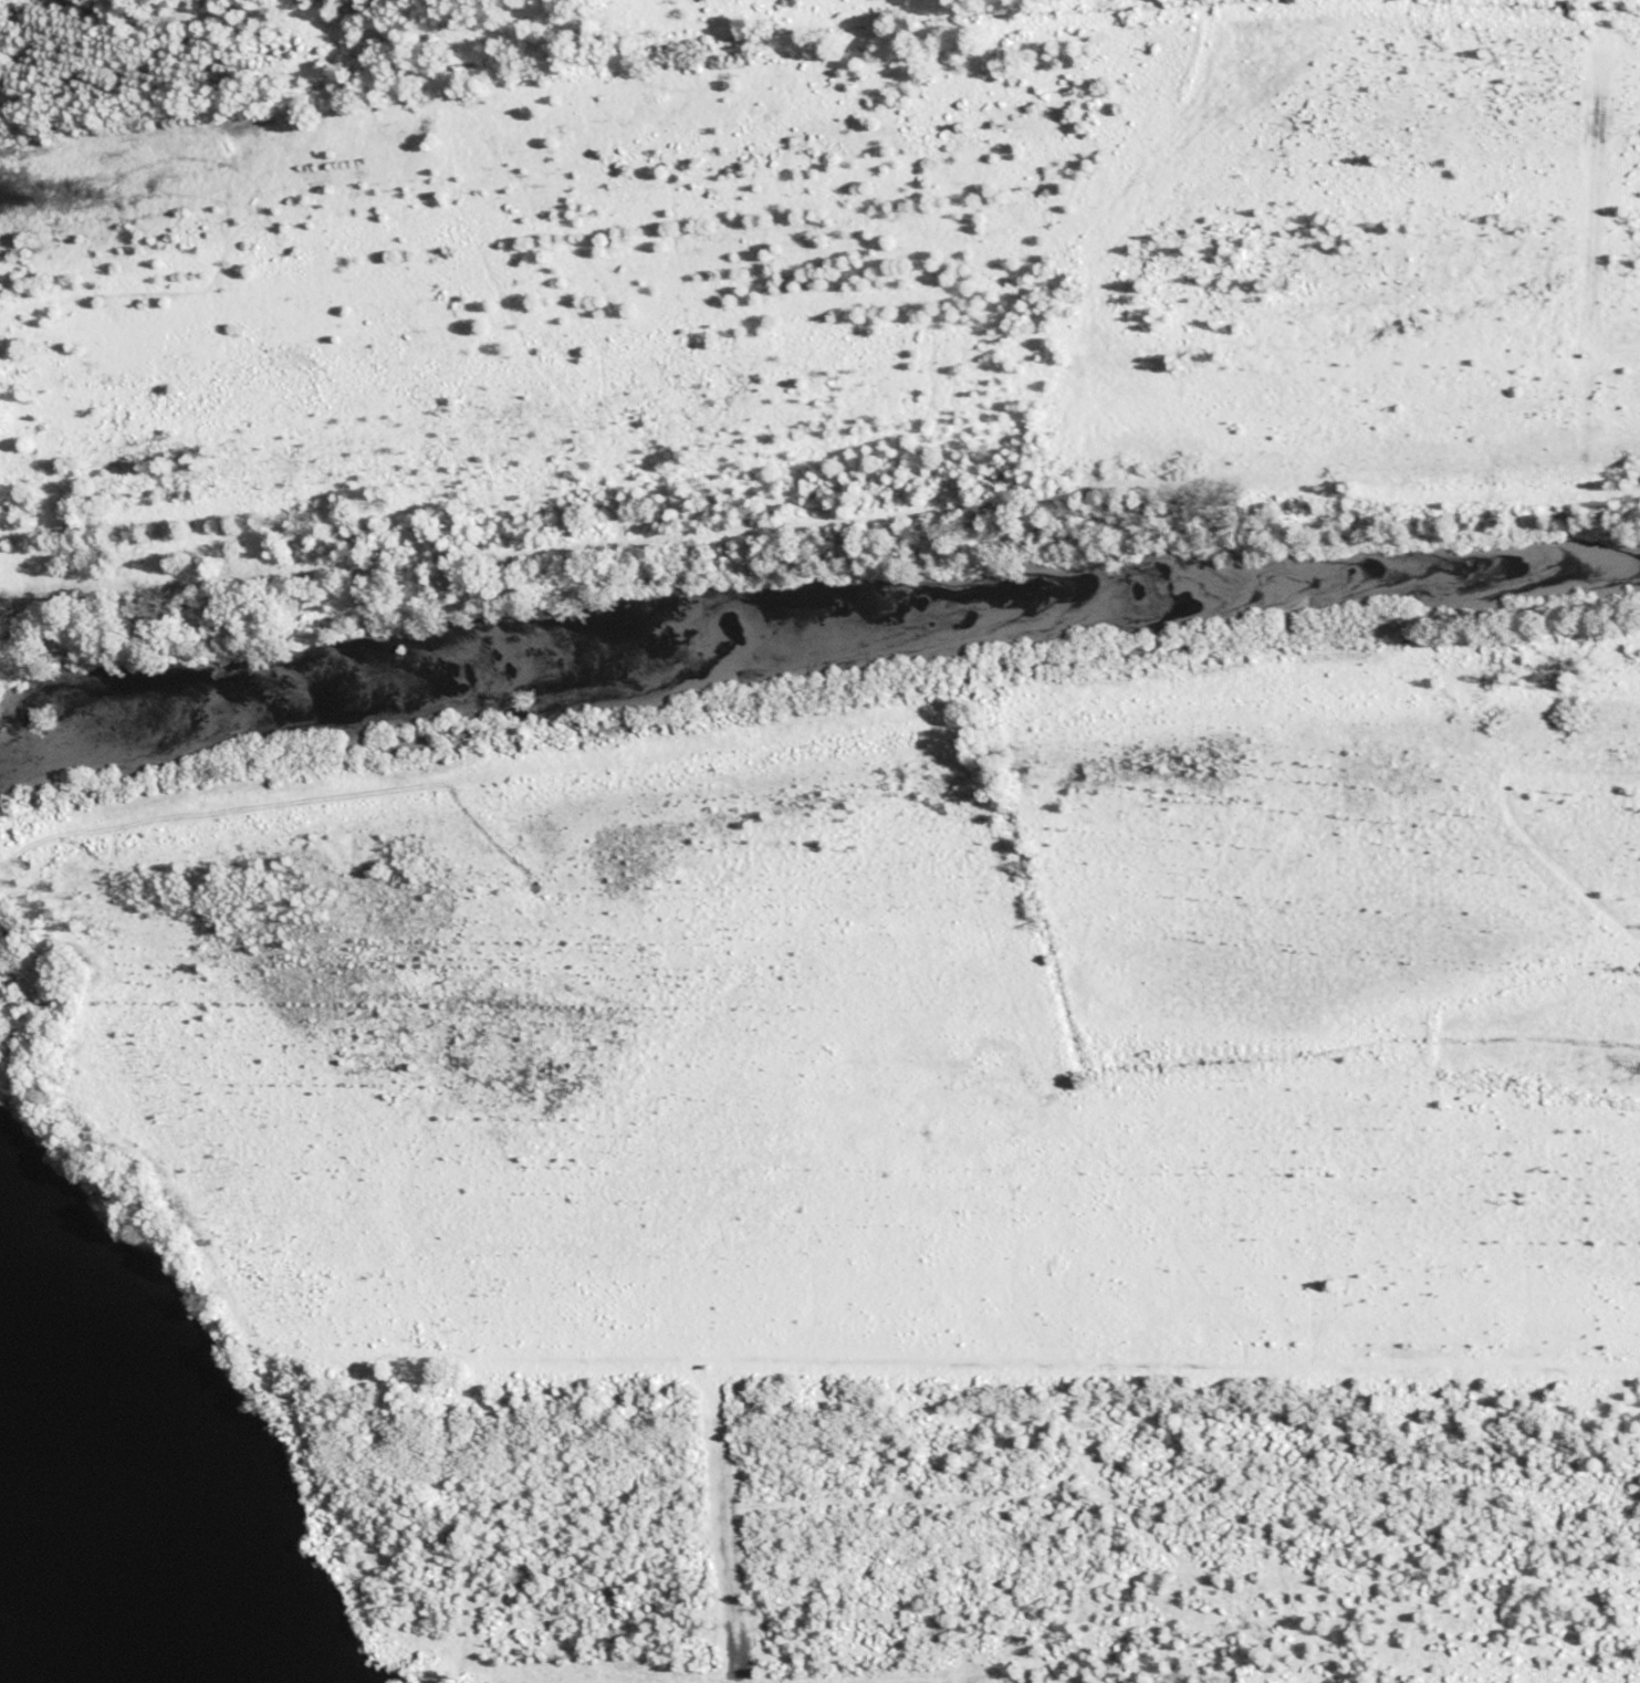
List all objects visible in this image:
road: (1528, 829)
road: (9, 892)

